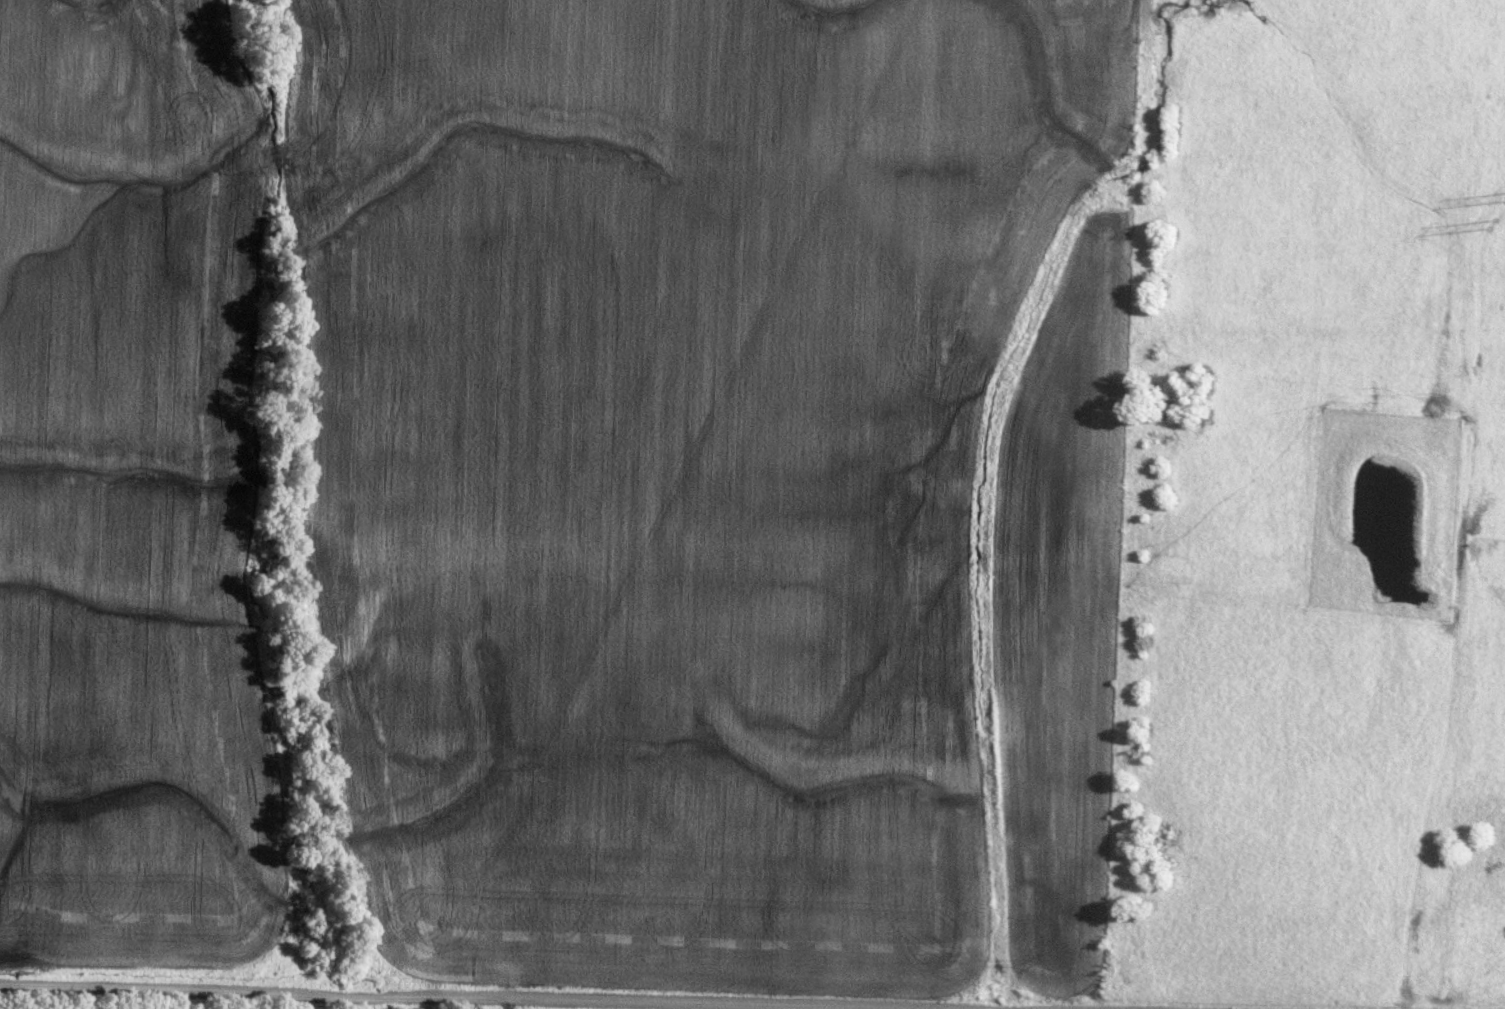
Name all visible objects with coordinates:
power tower: (1503, 201)
power tower: (1484, 223)
road: (516, 997)

